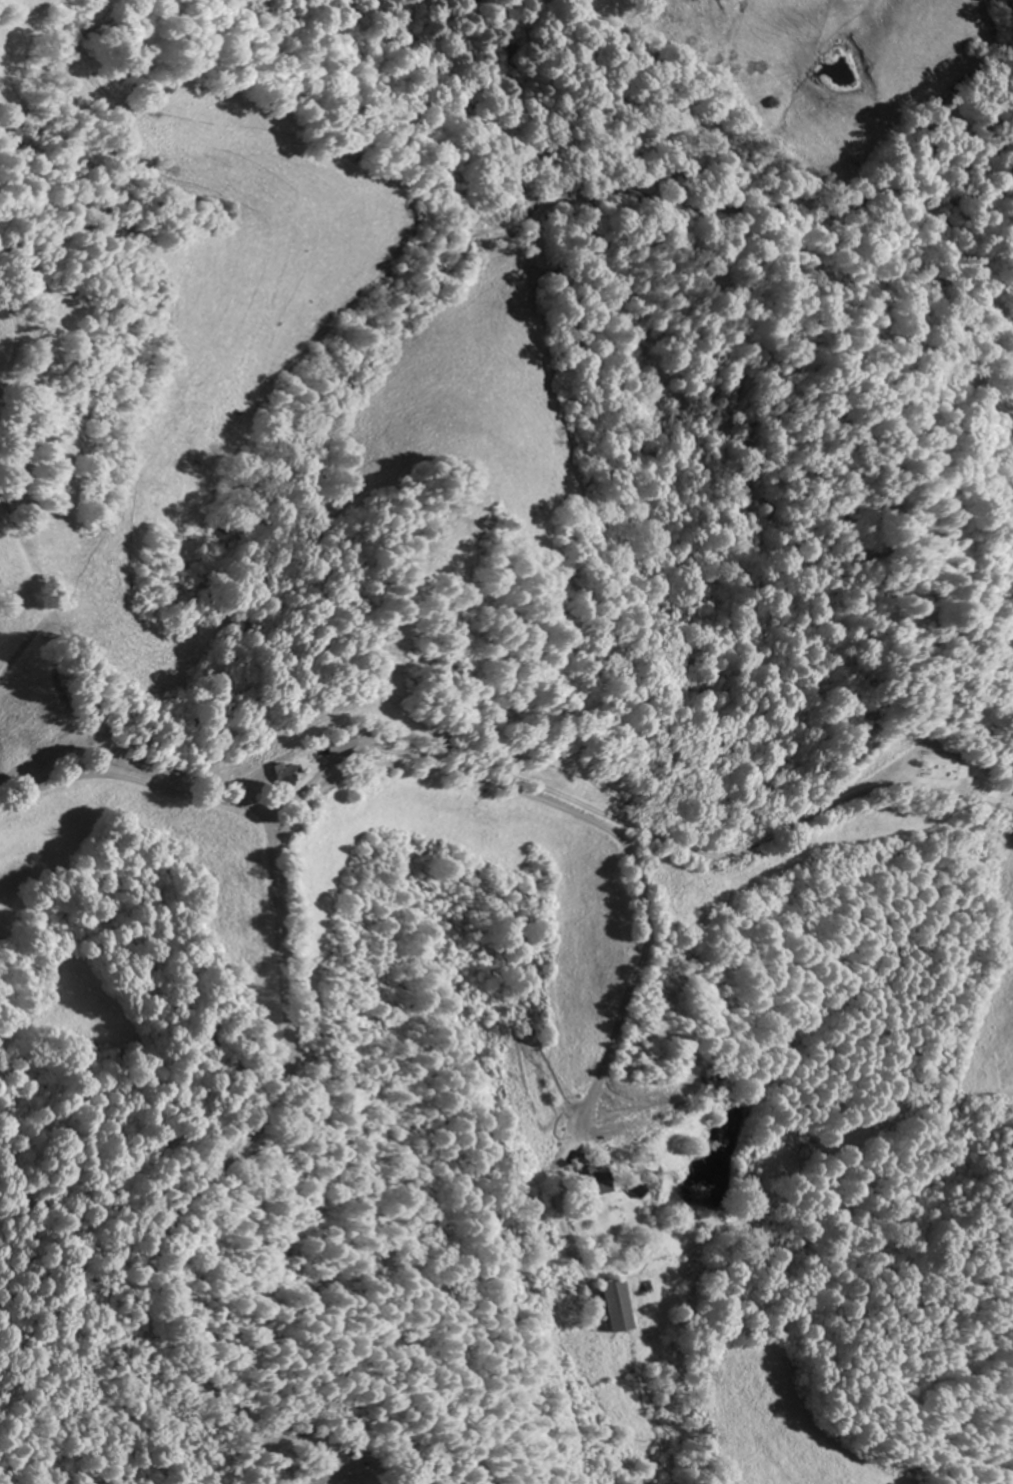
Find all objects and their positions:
building: (332, 745)
building: (280, 776)
road: (584, 824)
road: (283, 1065)
building: (601, 1181)
building: (618, 1307)

